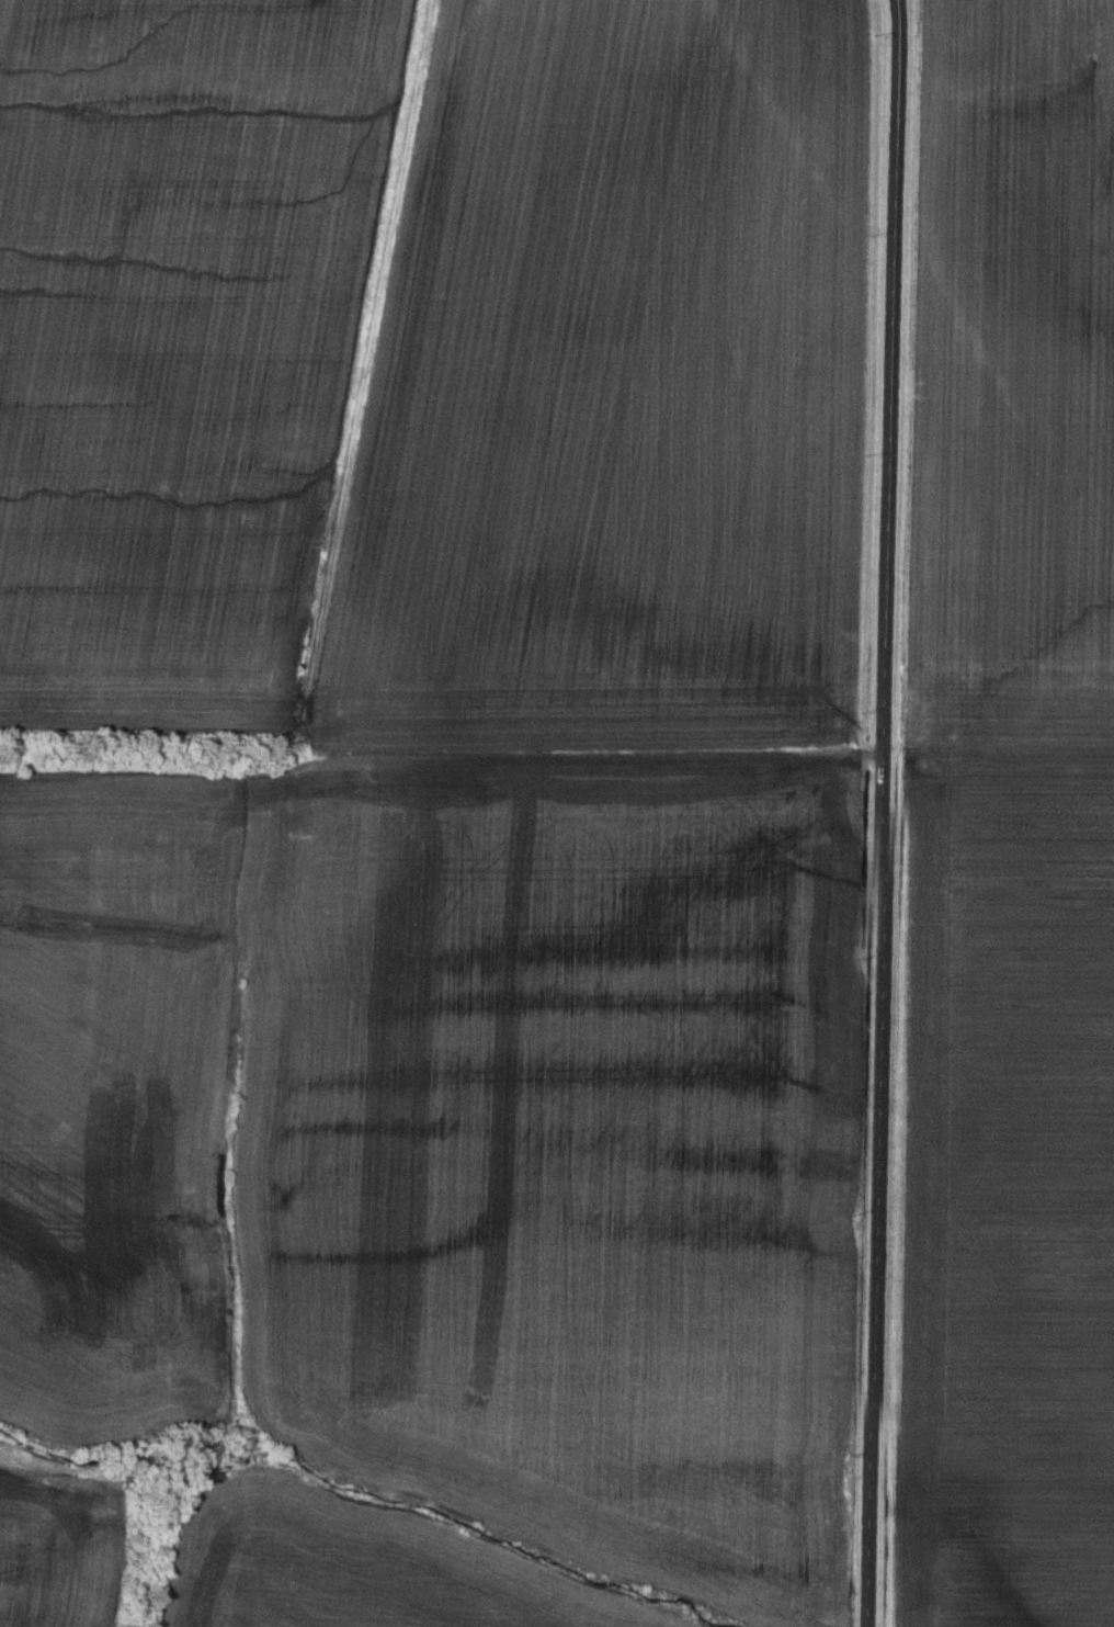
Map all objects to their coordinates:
road: (883, 813)

